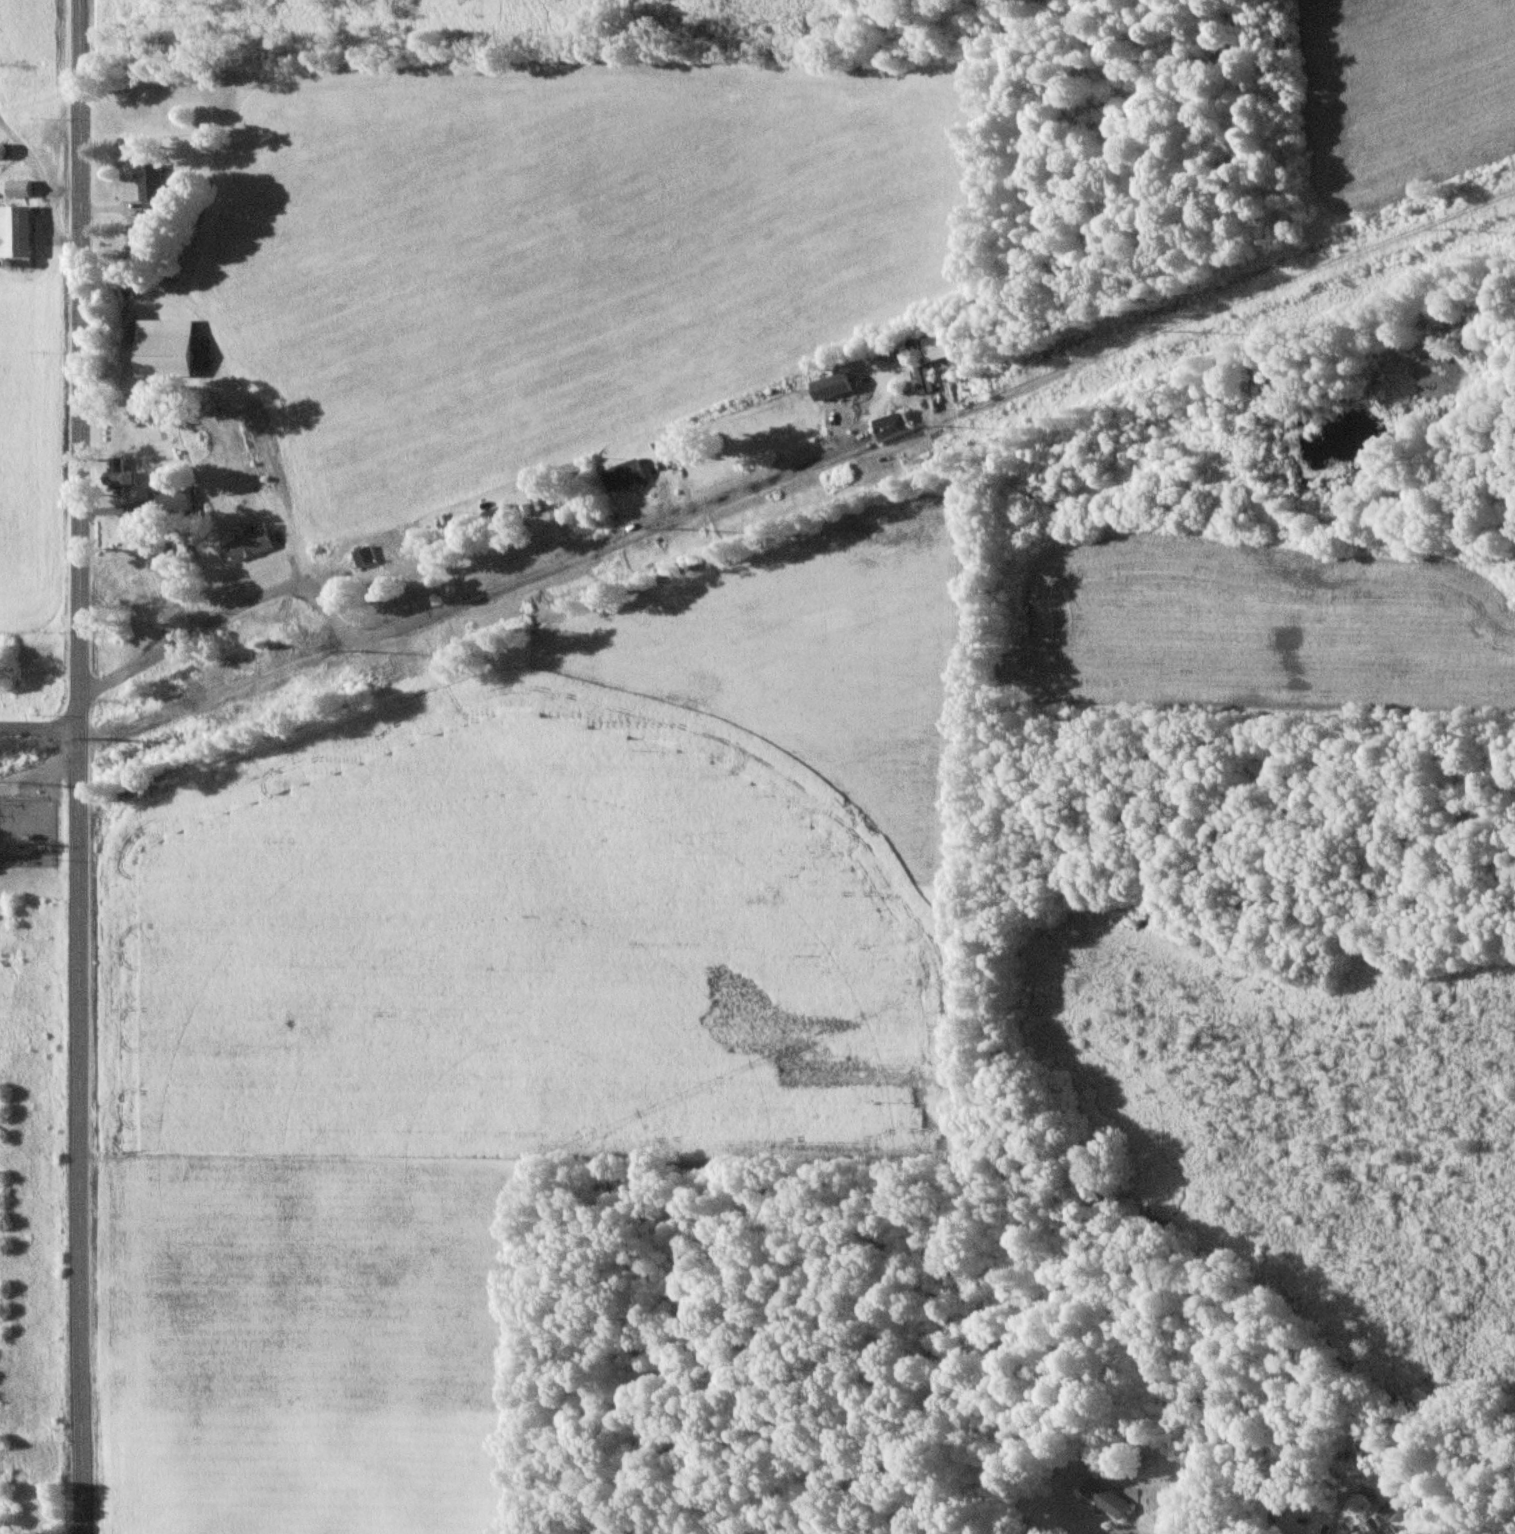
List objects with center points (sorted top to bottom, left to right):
building: (17, 189)
building: (149, 190)
building: (15, 234)
building: (935, 347)
building: (162, 348)
building: (889, 427)
building: (665, 450)
building: (117, 475)
building: (621, 475)
building: (163, 502)
building: (495, 519)
building: (247, 546)
building: (362, 557)
building: (396, 581)
road: (426, 617)
building: (223, 668)
road: (39, 727)
road: (79, 766)
building: (1103, 1497)
building: (1379, 1525)

